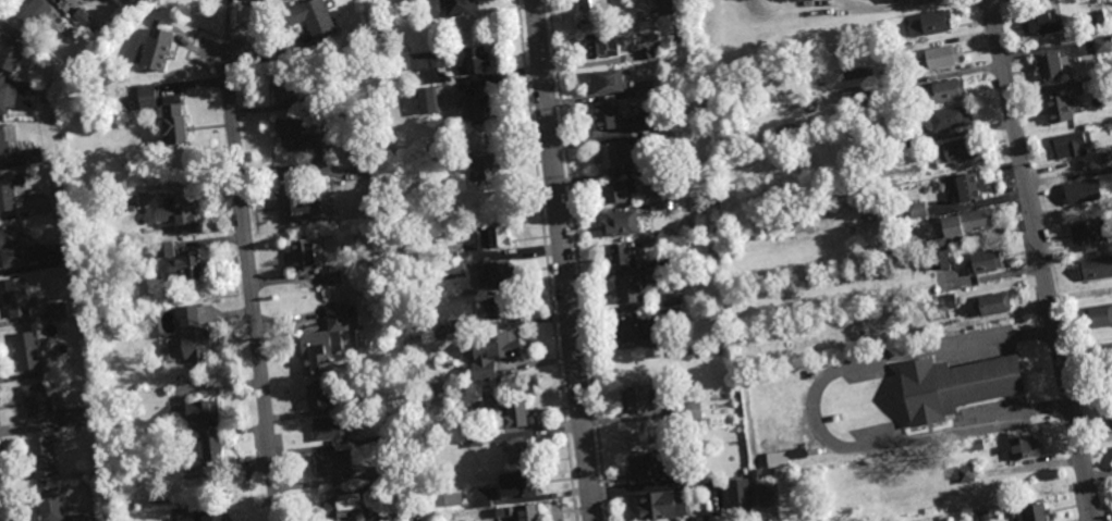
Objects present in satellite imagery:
building: (63, 0)
building: (253, 0)
building: (890, 1)
building: (595, 5)
building: (665, 8)
building: (462, 9)
building: (41, 16)
building: (82, 16)
building: (1098, 20)
building: (313, 21)
building: (930, 24)
building: (1041, 24)
building: (1103, 45)
building: (601, 46)
building: (158, 47)
building: (905, 49)
building: (10, 52)
building: (648, 53)
building: (942, 57)
building: (476, 60)
building: (423, 61)
building: (1051, 66)
building: (62, 70)
building: (608, 82)
building: (1090, 87)
building: (288, 91)
building: (944, 92)
building: (146, 95)
building: (854, 96)
building: (8, 97)
building: (44, 98)
building: (427, 101)
building: (478, 104)
building: (1058, 108)
building: (608, 117)
building: (949, 117)
building: (652, 120)
building: (174, 122)
building: (298, 136)
building: (909, 137)
building: (659, 138)
building: (5, 140)
building: (1072, 145)
building: (917, 148)
building: (957, 149)
building: (633, 151)
building: (613, 153)
building: (27, 157)
building: (1107, 157)
building: (438, 162)
building: (484, 168)
building: (656, 172)
building: (968, 185)
building: (9, 190)
building: (618, 190)
building: (1083, 191)
building: (302, 202)
building: (659, 204)
building: (697, 204)
building: (130, 208)
building: (918, 209)
building: (897, 212)
building: (179, 214)
building: (870, 215)
building: (965, 221)
building: (620, 223)
building: (1090, 233)
building: (489, 235)
building: (936, 241)
building: (11, 246)
building: (167, 248)
building: (44, 249)
building: (62, 252)
building: (311, 257)
building: (621, 257)
building: (940, 259)
road: (562, 260)
road: (1040, 260)
building: (982, 261)
building: (452, 265)
building: (187, 266)
building: (663, 266)
building: (1095, 269)
building: (497, 273)
building: (630, 289)
road: (250, 290)
building: (15, 297)
building: (671, 298)
building: (945, 301)
building: (990, 303)
building: (499, 307)
building: (57, 311)
building: (1100, 317)
building: (459, 324)
building: (646, 324)
building: (194, 334)
building: (322, 338)
building: (689, 349)
building: (26, 350)
building: (492, 351)
road: (1086, 353)
building: (956, 384)
building: (1111, 385)
building: (317, 395)
building: (638, 398)
building: (36, 400)
building: (365, 405)
building: (509, 410)
building: (687, 410)
road: (812, 410)
building: (204, 412)
building: (73, 417)
building: (1110, 422)
building: (471, 429)
building: (329, 431)
building: (474, 441)
building: (370, 442)
building: (972, 445)
building: (1023, 447)
building: (207, 448)
building: (518, 450)
building: (797, 452)
building: (42, 457)
building: (333, 464)
building: (649, 467)
building: (395, 469)
building: (756, 473)
building: (963, 473)
building: (693, 474)
building: (210, 482)
building: (524, 483)
building: (372, 488)
building: (735, 494)
building: (768, 494)
building: (480, 497)
building: (451, 498)
building: (50, 505)
building: (340, 505)
building: (657, 505)
building: (524, 511)
building: (1030, 511)
building: (203, 513)
building: (983, 514)
building: (81, 517)

